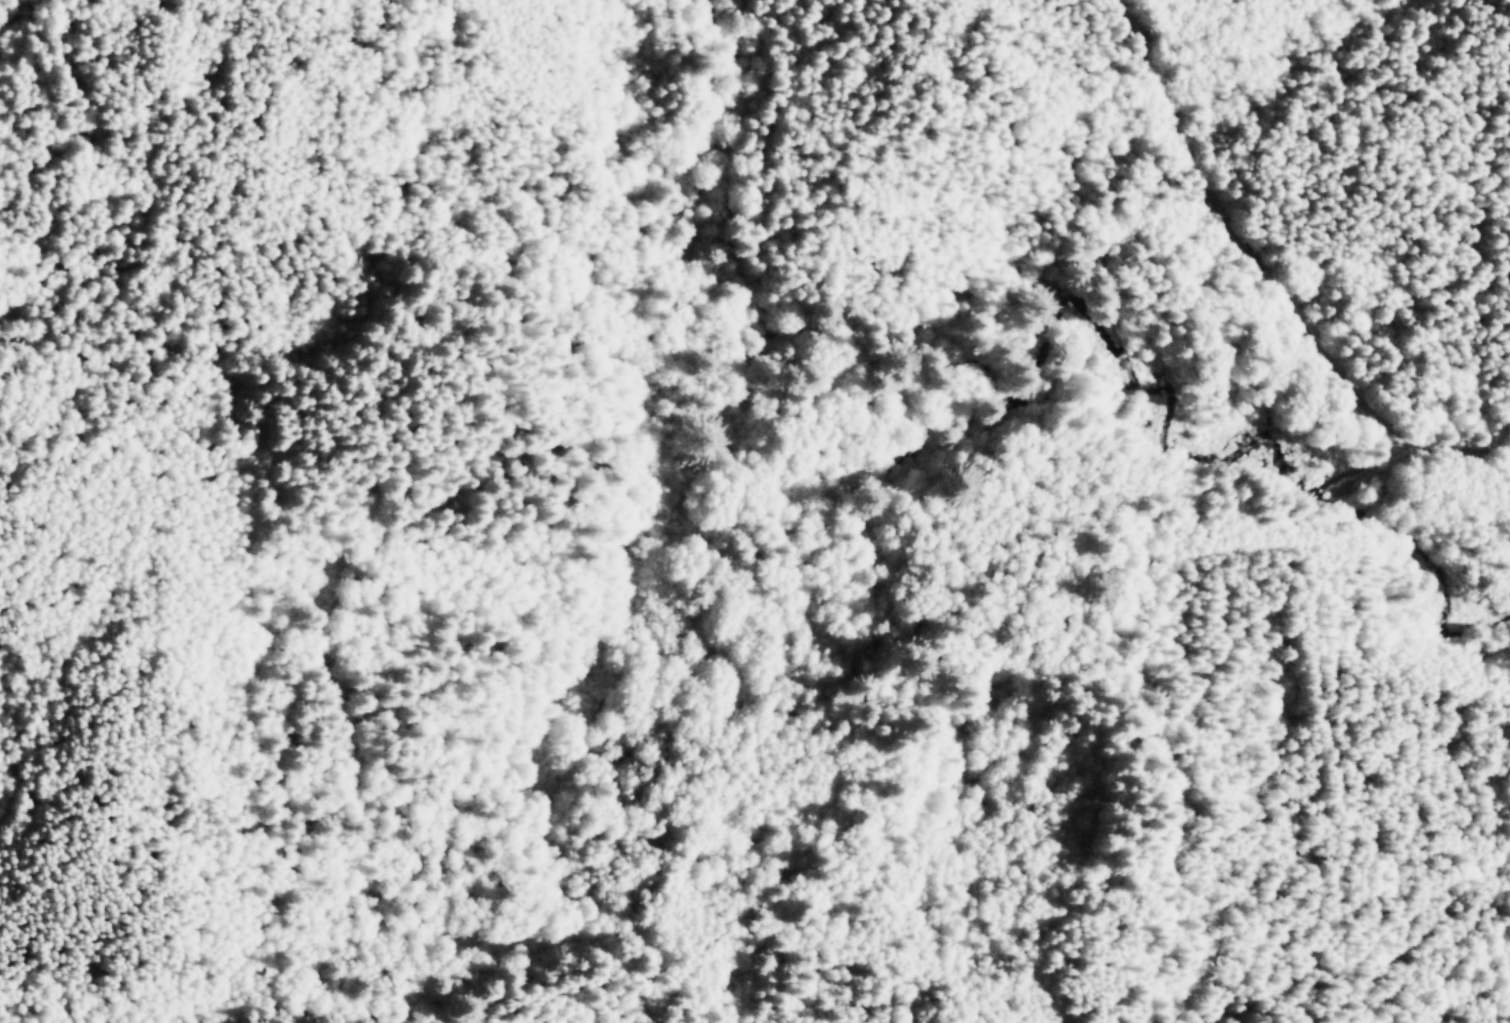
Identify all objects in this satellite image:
road: (1295, 201)

